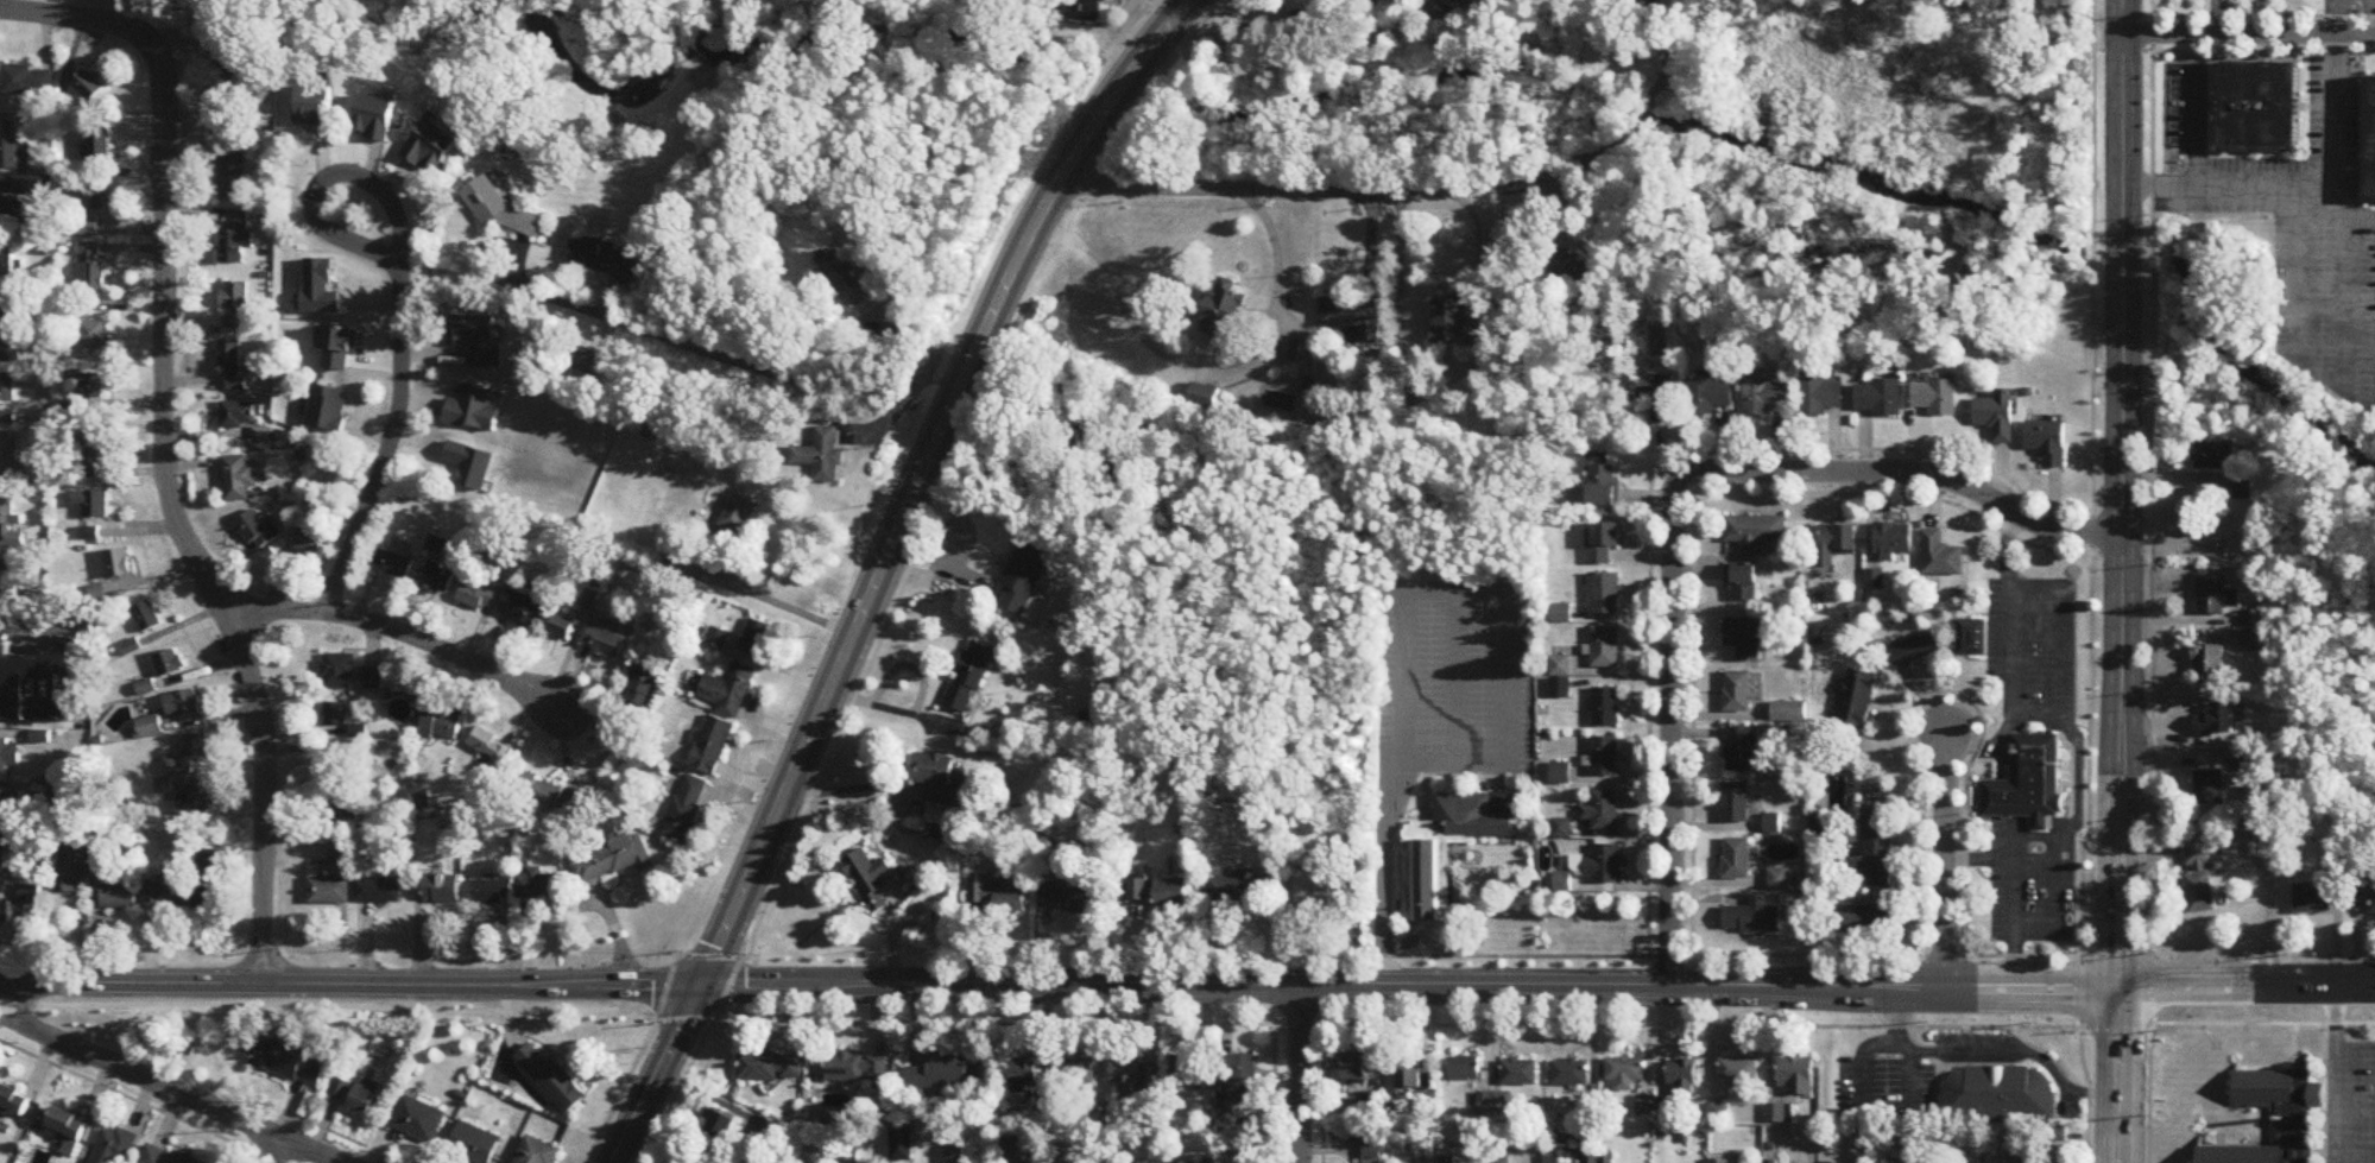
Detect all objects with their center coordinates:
building: (1381, 0)
building: (1086, 11)
road: (2263, 14)
building: (1644, 15)
road: (2217, 17)
road: (2336, 17)
road: (2249, 33)
road: (2234, 50)
building: (233, 62)
road: (1663, 74)
building: (27, 82)
building: (88, 86)
road: (2207, 103)
parking lot: (2173, 105)
building: (2256, 105)
road: (2314, 106)
road: (1648, 109)
building: (234, 120)
road: (2196, 124)
building: (2367, 132)
building: (99, 146)
building: (12, 150)
road: (1602, 151)
building: (232, 178)
road: (2297, 185)
road: (1314, 188)
building: (95, 196)
road: (2298, 201)
building: (498, 204)
building: (10, 210)
road: (2336, 217)
building: (86, 227)
building: (235, 238)
building: (602, 258)
building: (7, 263)
building: (89, 270)
building: (1572, 270)
building: (847, 280)
road: (403, 303)
road: (2345, 304)
building: (235, 306)
building: (1221, 314)
building: (1356, 316)
building: (1453, 323)
building: (7, 324)
building: (89, 328)
road: (2295, 335)
building: (476, 339)
building: (1294, 349)
building: (582, 359)
building: (234, 365)
road: (1208, 372)
building: (7, 387)
building: (89, 387)
road: (789, 387)
building: (1657, 394)
building: (1710, 397)
building: (1766, 397)
building: (1821, 397)
building: (1937, 397)
building: (1880, 398)
building: (474, 407)
building: (327, 410)
building: (239, 415)
building: (1998, 416)
building: (261, 436)
road: (166, 441)
building: (2048, 441)
building: (94, 447)
building: (823, 455)
building: (2215, 455)
building: (13, 457)
building: (239, 479)
building: (2242, 485)
building: (1603, 486)
road: (942, 492)
road: (2121, 494)
building: (91, 504)
road: (1674, 505)
building: (739, 514)
building: (11, 524)
building: (253, 532)
building: (1755, 532)
building: (312, 535)
building: (1602, 542)
building: (1891, 542)
building: (1834, 543)
building: (1940, 556)
building: (118, 563)
building: (393, 564)
road: (879, 568)
building: (10, 577)
building: (440, 579)
building: (1024, 579)
building: (1743, 581)
building: (1874, 581)
road: (2089, 582)
road: (2150, 582)
building: (479, 593)
road: (1453, 593)
building: (1605, 593)
building: (2215, 596)
road: (781, 599)
building: (522, 607)
building: (1562, 613)
building: (146, 617)
building: (561, 626)
building: (2255, 628)
road: (404, 632)
building: (756, 637)
building: (718, 638)
building: (1745, 638)
building: (1973, 638)
building: (605, 641)
building: (1606, 647)
building: (1913, 650)
building: (170, 663)
building: (2207, 664)
building: (339, 672)
building: (971, 677)
road: (1455, 678)
building: (373, 680)
building: (38, 684)
building: (640, 687)
building: (729, 690)
road: (1945, 690)
building: (1738, 691)
building: (1857, 699)
building: (182, 704)
building: (1606, 707)
building: (1790, 712)
road: (2022, 713)
building: (336, 714)
building: (440, 722)
building: (2217, 722)
building: (149, 728)
building: (712, 745)
building: (488, 747)
building: (1741, 748)
building: (188, 756)
building: (1605, 757)
building: (340, 765)
building: (1560, 773)
building: (934, 775)
building: (2025, 780)
road: (846, 788)
building: (2210, 788)
building: (545, 794)
building: (194, 801)
building: (1736, 802)
road: (2074, 802)
building: (6, 807)
building: (341, 808)
building: (686, 809)
building: (1603, 810)
road: (1384, 818)
building: (1449, 848)
building: (2, 849)
building: (340, 853)
building: (1874, 854)
building: (1737, 858)
building: (612, 860)
road: (1944, 860)
building: (72, 866)
building: (105, 867)
building: (1591, 867)
building: (207, 877)
building: (1779, 878)
building: (2199, 879)
building: (872, 880)
building: (538, 886)
building: (1239, 887)
building: (1319, 887)
road: (2013, 887)
building: (441, 889)
building: (378, 890)
building: (1137, 890)
building: (329, 891)
building: (2364, 891)
building: (493, 892)
building: (997, 893)
building: (1170, 893)
building: (119, 895)
building: (165, 896)
building: (1069, 896)
building: (2311, 899)
building: (6, 911)
building: (1751, 917)
building: (1862, 919)
road: (1762, 954)
road: (972, 981)
traffic signals: (699, 982)
road: (2245, 987)
road: (2030, 988)
traffic signals: (2118, 988)
road: (1367, 1024)
road: (633, 1060)
road: (690, 1060)
building: (285, 1061)
road: (2323, 1061)
building: (770, 1068)
building: (848, 1068)
building: (1356, 1069)
building: (1464, 1069)
building: (1738, 1070)
road: (133, 1072)
building: (1078, 1072)
road: (1297, 1072)
building: (1625, 1072)
building: (1137, 1073)
building: (1568, 1073)
building: (948, 1074)
building: (1025, 1074)
building: (1188, 1074)
building: (1518, 1074)
building: (1682, 1075)
road: (2116, 1075)
road: (2333, 1075)
building: (1409, 1076)
building: (1795, 1076)
building: (1243, 1077)
building: (551, 1080)
building: (340, 1089)
road: (1272, 1093)
road: (1322, 1093)
building: (1998, 1094)
building: (365, 1096)
building: (13, 1100)
building: (1644, 1106)
building: (1718, 1112)
building: (1777, 1114)
building: (418, 1119)
building: (2294, 1127)
building: (68, 1129)
building: (720, 1130)
building: (474, 1144)
building: (113, 1146)
building: (1367, 1148)
road: (271, 1149)
road: (309, 1149)
building: (536, 1152)
building: (1008, 1152)
building: (170, 1156)
building: (1599, 1159)
building: (1501, 1161)
building: (1719, 1162)

